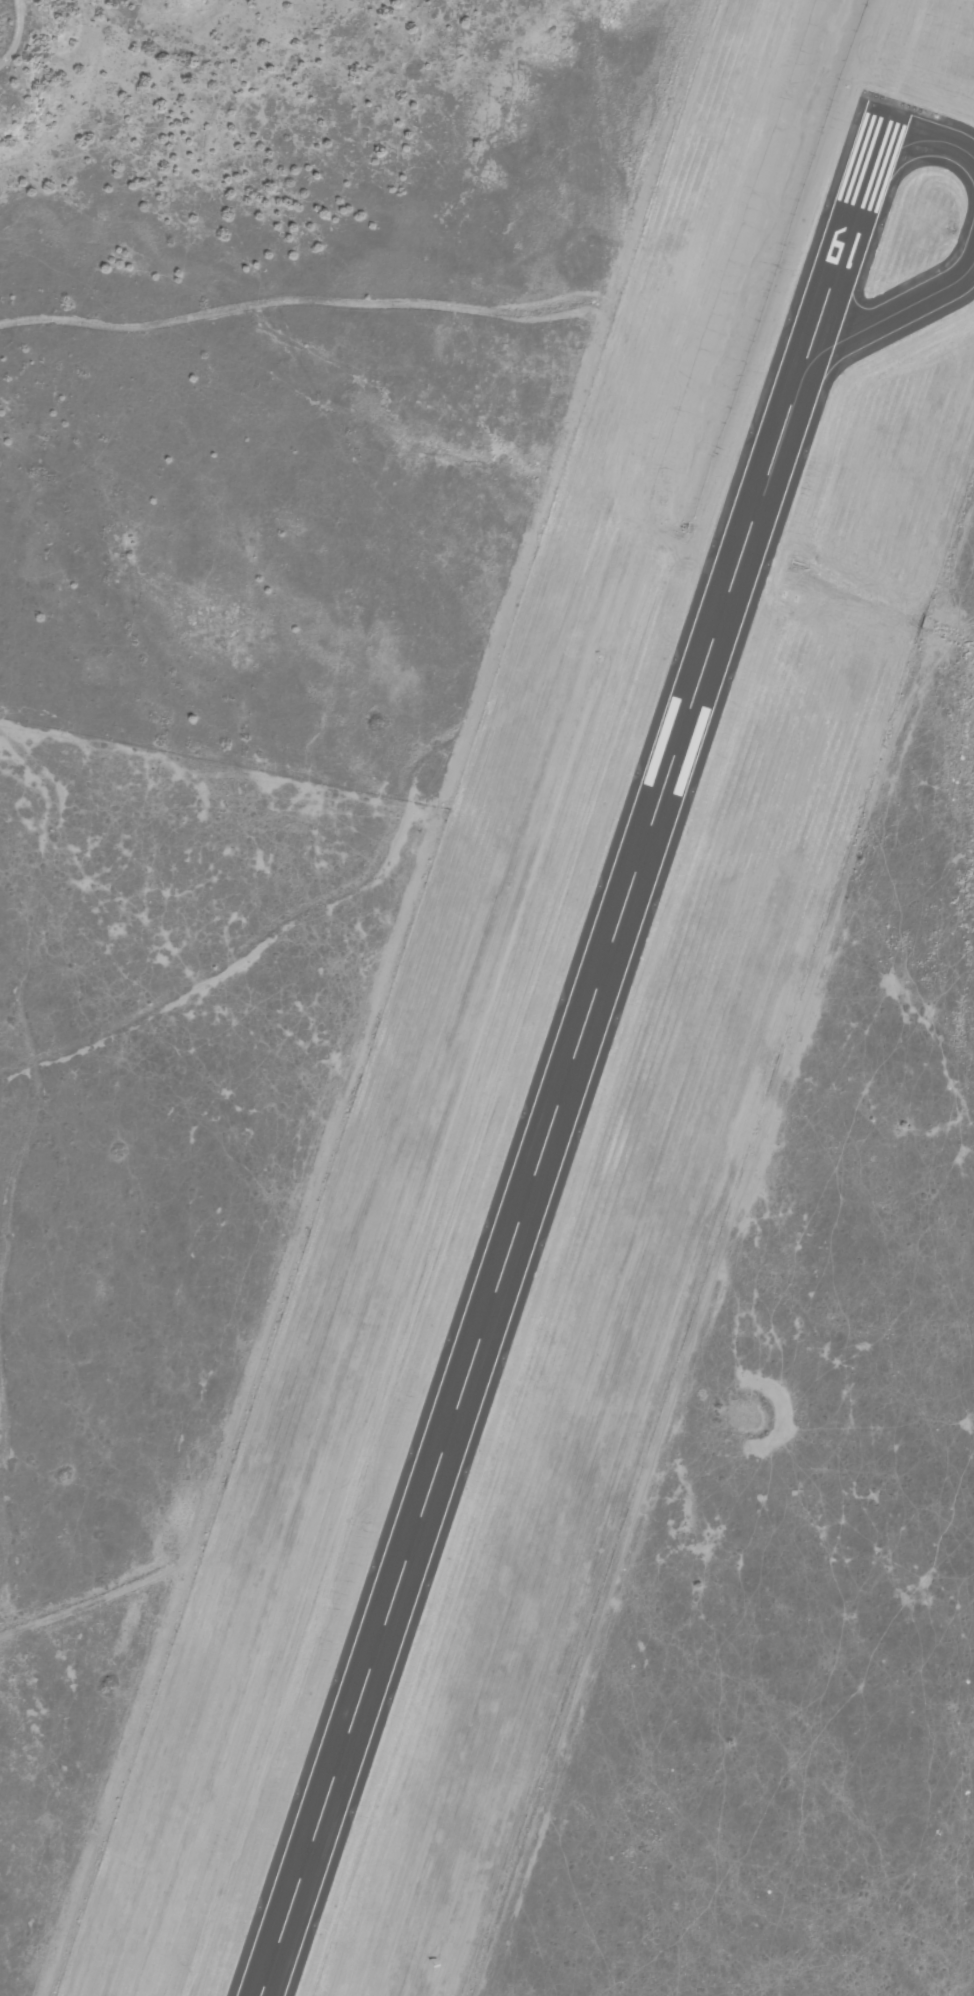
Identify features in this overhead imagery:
road: (18, 31)
airport taxiway: (925, 140)
road: (419, 305)
airport taxiway: (884, 317)
road: (493, 922)
airport: (567, 1038)
airport runway: (565, 1074)

